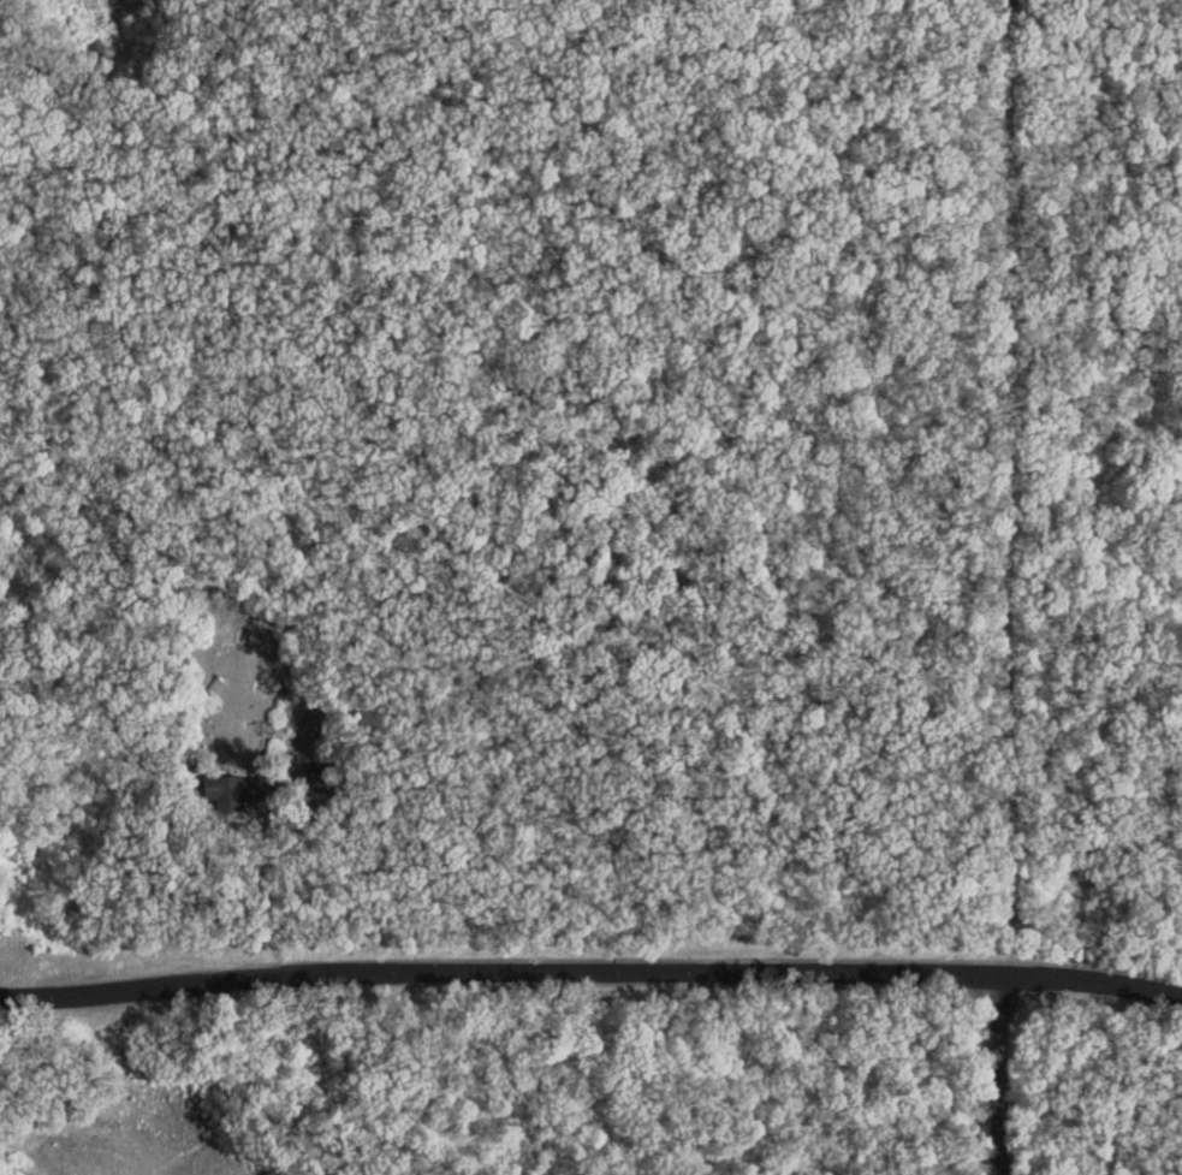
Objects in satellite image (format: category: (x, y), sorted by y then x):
building: (230, 791)
road: (259, 894)
road: (590, 968)
road: (994, 1073)

